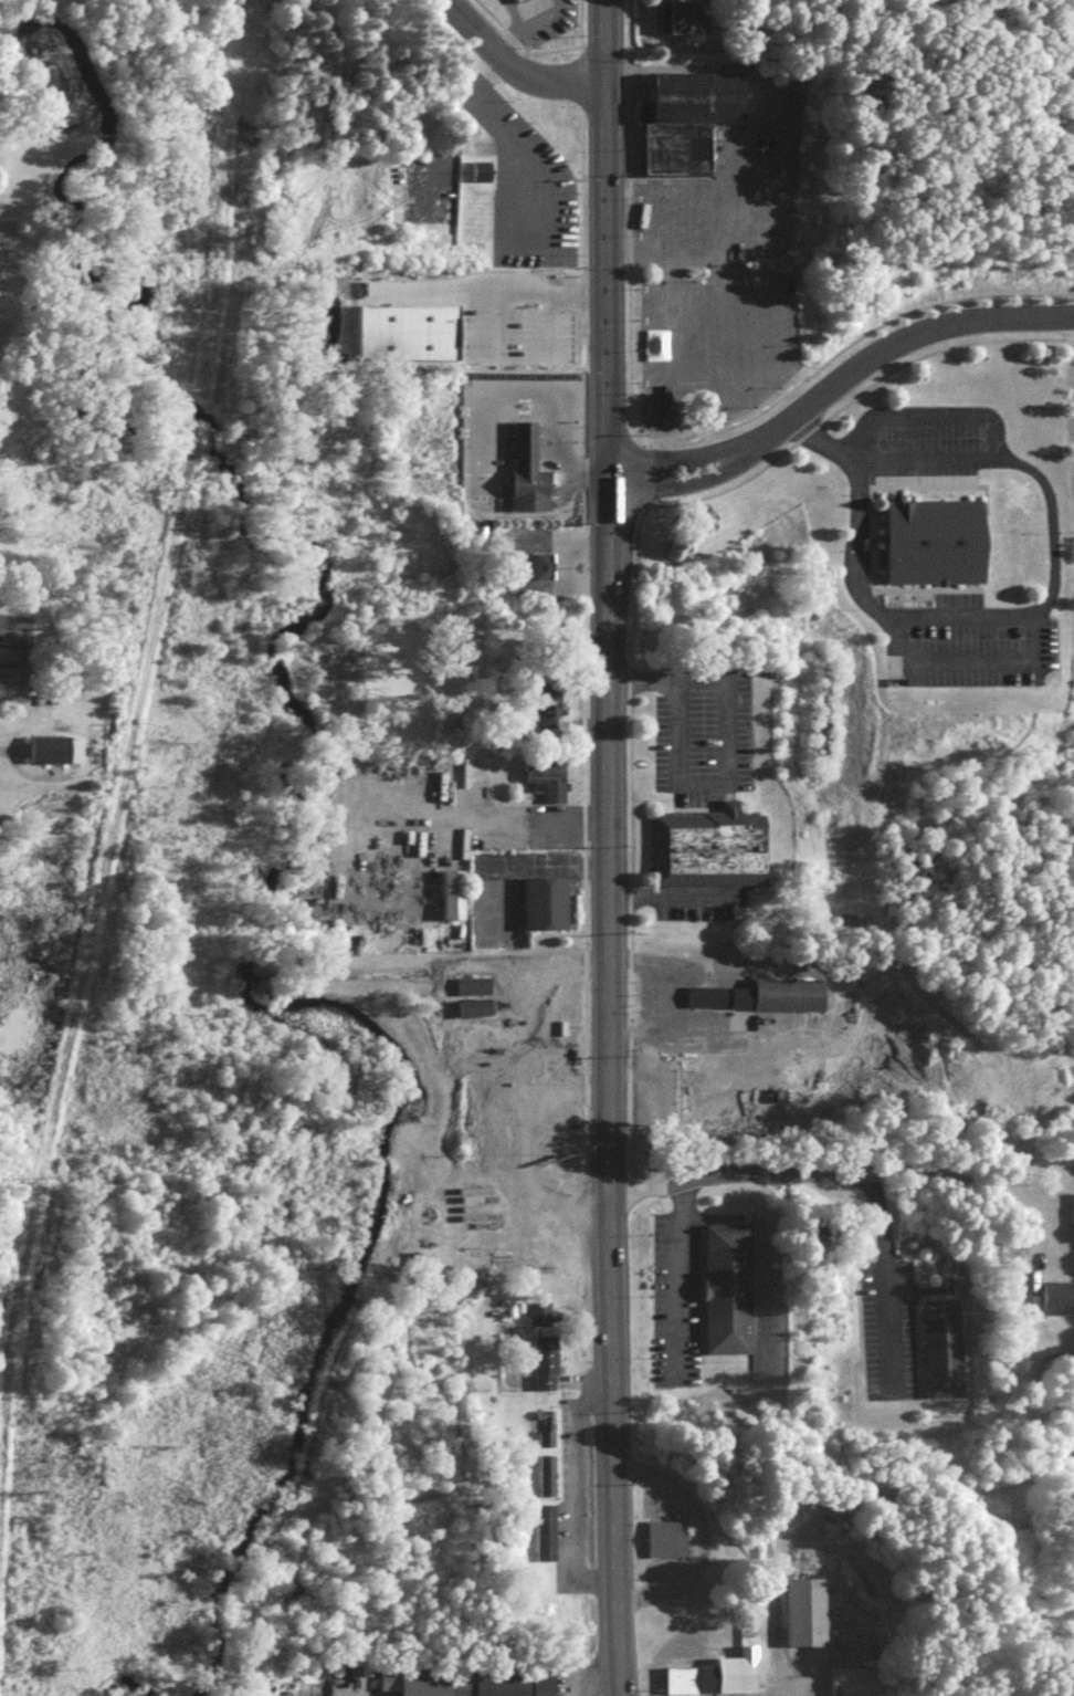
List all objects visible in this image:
building: (510, 0)
building: (523, 2)
building: (687, 23)
road: (523, 29)
road: (515, 77)
building: (682, 115)
road: (513, 147)
road: (449, 153)
road: (757, 154)
building: (476, 171)
road: (485, 289)
building: (402, 327)
parking lot: (510, 332)
road: (513, 355)
road: (834, 379)
road: (501, 396)
road: (517, 410)
road: (926, 418)
street lamp: (575, 422)
road: (492, 428)
road: (545, 428)
road: (492, 438)
road: (545, 439)
road: (818, 441)
road: (492, 451)
road: (547, 451)
road: (1018, 467)
building: (523, 468)
road: (560, 485)
road: (482, 486)
road: (556, 496)
building: (929, 538)
building: (539, 564)
road: (607, 568)
road: (876, 613)
road: (961, 662)
building: (541, 703)
building: (548, 718)
road: (723, 743)
road: (1, 748)
building: (55, 755)
building: (541, 776)
road: (492, 824)
building: (705, 845)
building: (449, 892)
building: (540, 901)
building: (467, 982)
building: (474, 992)
building: (752, 994)
building: (467, 1004)
building: (475, 1014)
building: (492, 1083)
building: (673, 1101)
building: (682, 1111)
road: (967, 1171)
road: (737, 1173)
road: (681, 1276)
road: (884, 1283)
building: (720, 1286)
building: (535, 1312)
building: (936, 1347)
building: (540, 1359)
road: (609, 1416)
building: (541, 1427)
building: (541, 1473)
road: (566, 1494)
building: (540, 1529)
building: (659, 1536)
road: (697, 1537)
building: (798, 1610)
building: (712, 1674)
road: (588, 1677)
building: (460, 1681)
building: (844, 1681)
road: (787, 1694)

